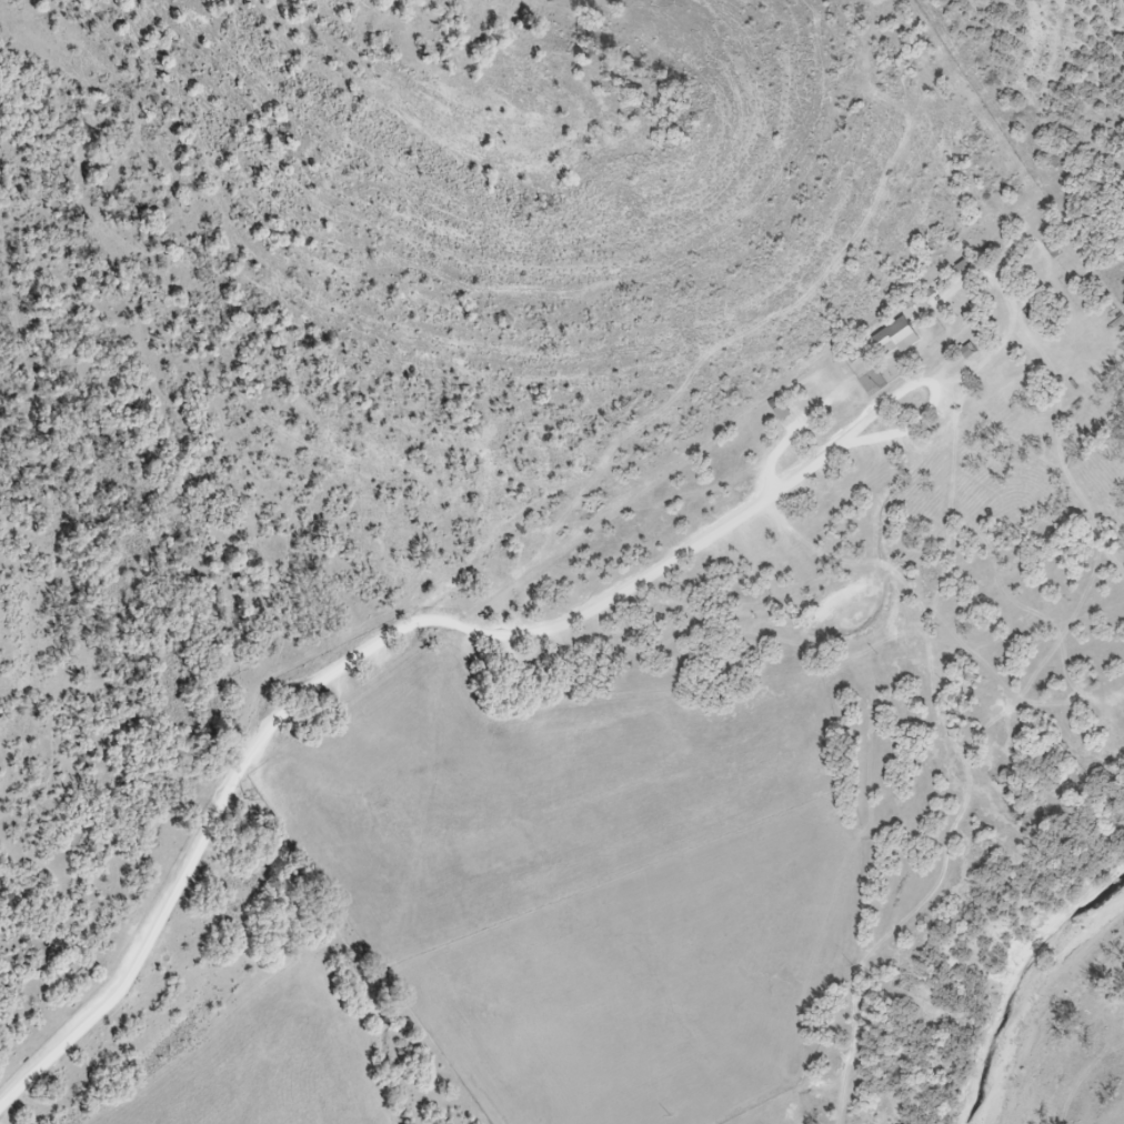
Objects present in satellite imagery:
building: (894, 339)
building: (781, 413)
road: (370, 648)

